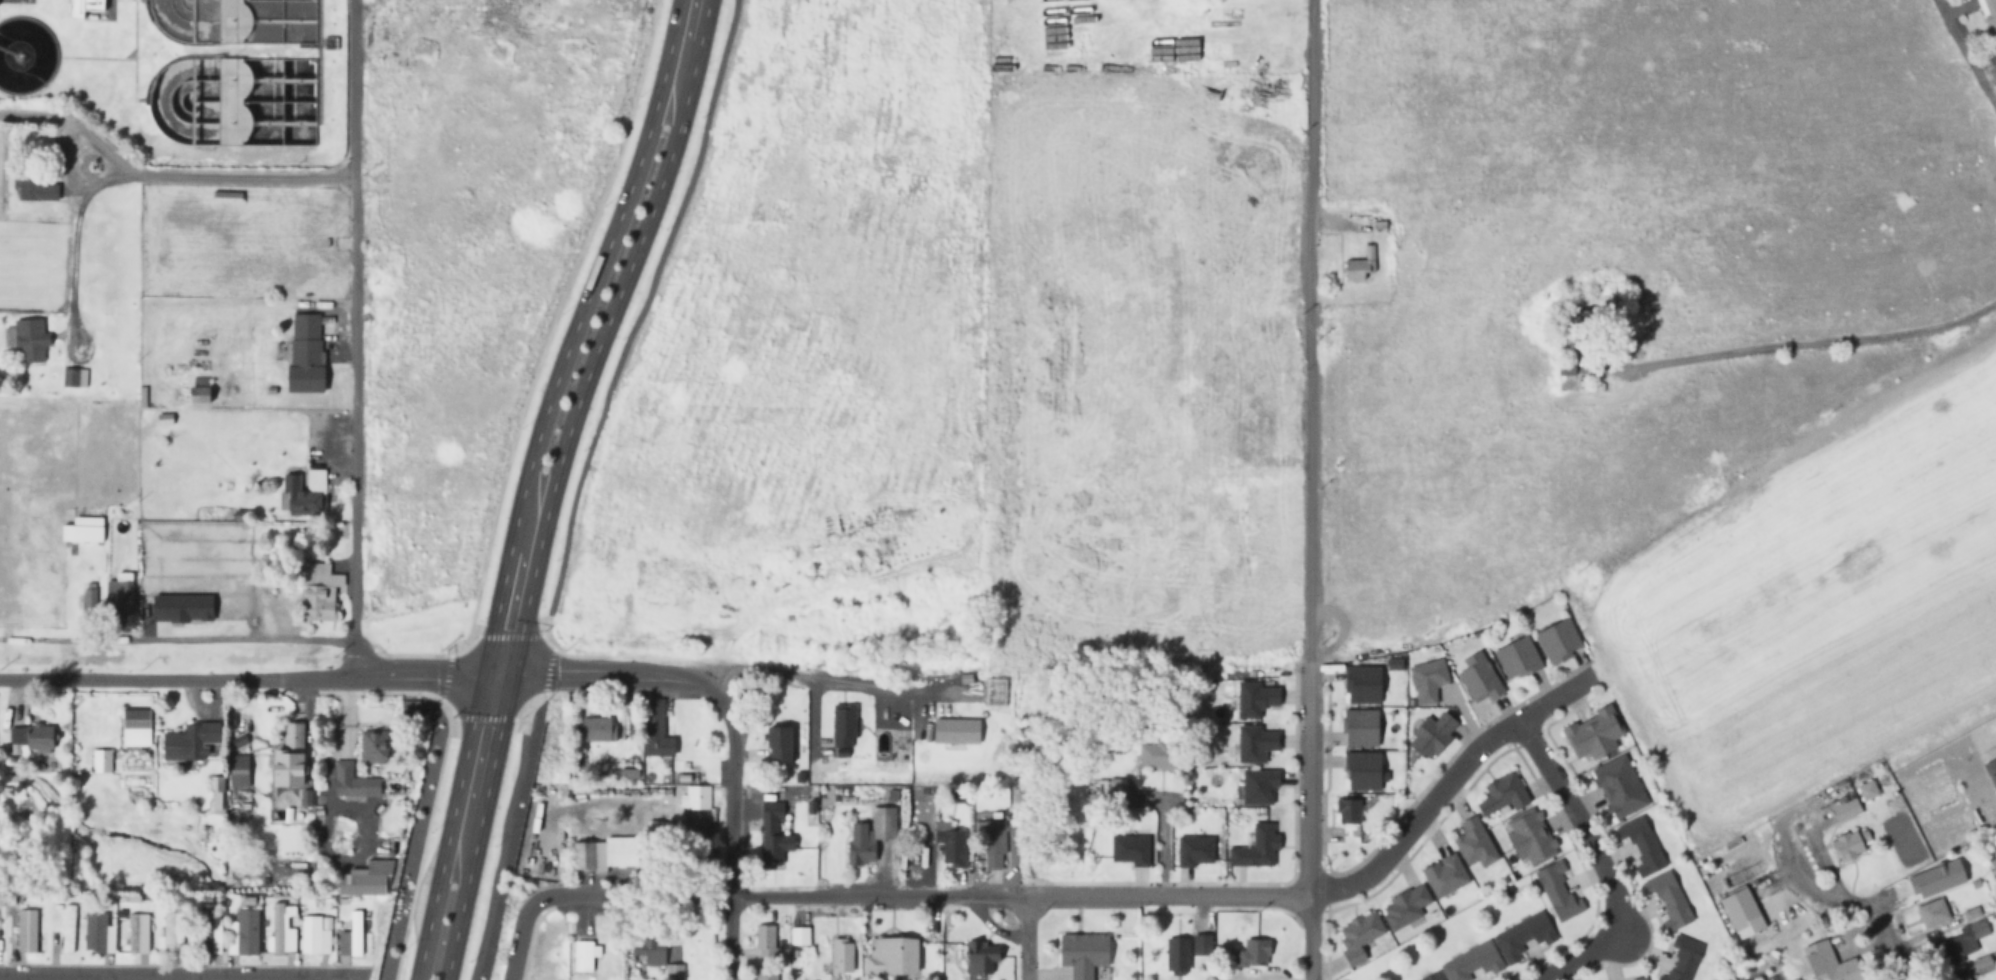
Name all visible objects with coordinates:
building: (86, 9)
building: (1988, 10)
road: (1969, 51)
building: (260, 69)
wastewater plant: (186, 75)
road: (73, 124)
building: (1232, 157)
road: (244, 175)
building: (35, 187)
building: (1360, 266)
road: (1313, 279)
road: (357, 335)
building: (28, 340)
building: (305, 354)
building: (1570, 368)
building: (74, 377)
building: (201, 396)
road: (566, 411)
building: (1250, 426)
road: (581, 485)
building: (306, 495)
building: (82, 533)
building: (320, 593)
building: (119, 596)
building: (257, 604)
building: (1559, 641)
building: (1517, 658)
road: (369, 672)
building: (1479, 678)
building: (1427, 681)
building: (1363, 685)
building: (816, 704)
building: (1361, 728)
building: (137, 729)
building: (598, 729)
building: (655, 730)
building: (47, 733)
building: (1593, 735)
building: (1431, 736)
building: (189, 741)
building: (778, 744)
building: (374, 751)
building: (1157, 755)
building: (103, 762)
building: (288, 763)
road: (1312, 769)
building: (1992, 769)
building: (239, 771)
building: (1363, 771)
road: (1450, 781)
building: (353, 782)
building: (1619, 787)
building: (1118, 789)
building: (1867, 791)
building: (1503, 794)
building: (696, 798)
building: (1845, 809)
building: (1348, 811)
building: (656, 820)
road: (1578, 825)
building: (870, 835)
building: (773, 836)
building: (1530, 838)
road: (734, 841)
building: (685, 842)
building: (950, 843)
building: (1475, 843)
building: (992, 844)
building: (1850, 845)
building: (1642, 846)
building: (620, 853)
building: (1445, 875)
building: (366, 880)
building: (1558, 892)
road: (928, 896)
building: (1669, 900)
road: (432, 902)
road: (461, 905)
building: (1405, 906)
building: (1742, 913)
building: (1933, 913)
building: (134, 928)
building: (207, 928)
building: (278, 928)
building: (68, 929)
building: (169, 929)
building: (27, 931)
building: (95, 931)
building: (248, 932)
building: (356, 933)
building: (311, 935)
road: (522, 936)
building: (800, 936)
building: (1359, 936)
building: (1523, 936)
road: (1024, 938)
building: (765, 940)
road: (1891, 944)
building: (1961, 944)
building: (1203, 945)
building: (651, 948)
building: (587, 953)
building: (1083, 953)
building: (1254, 954)
building: (1177, 955)
building: (842, 956)
building: (892, 956)
building: (980, 957)
road: (1577, 958)
building: (1683, 959)
building: (1472, 962)
building: (1825, 963)
building: (1983, 964)
building: (768, 975)
building: (1434, 977)
building: (1967, 977)
road: (117, 978)

